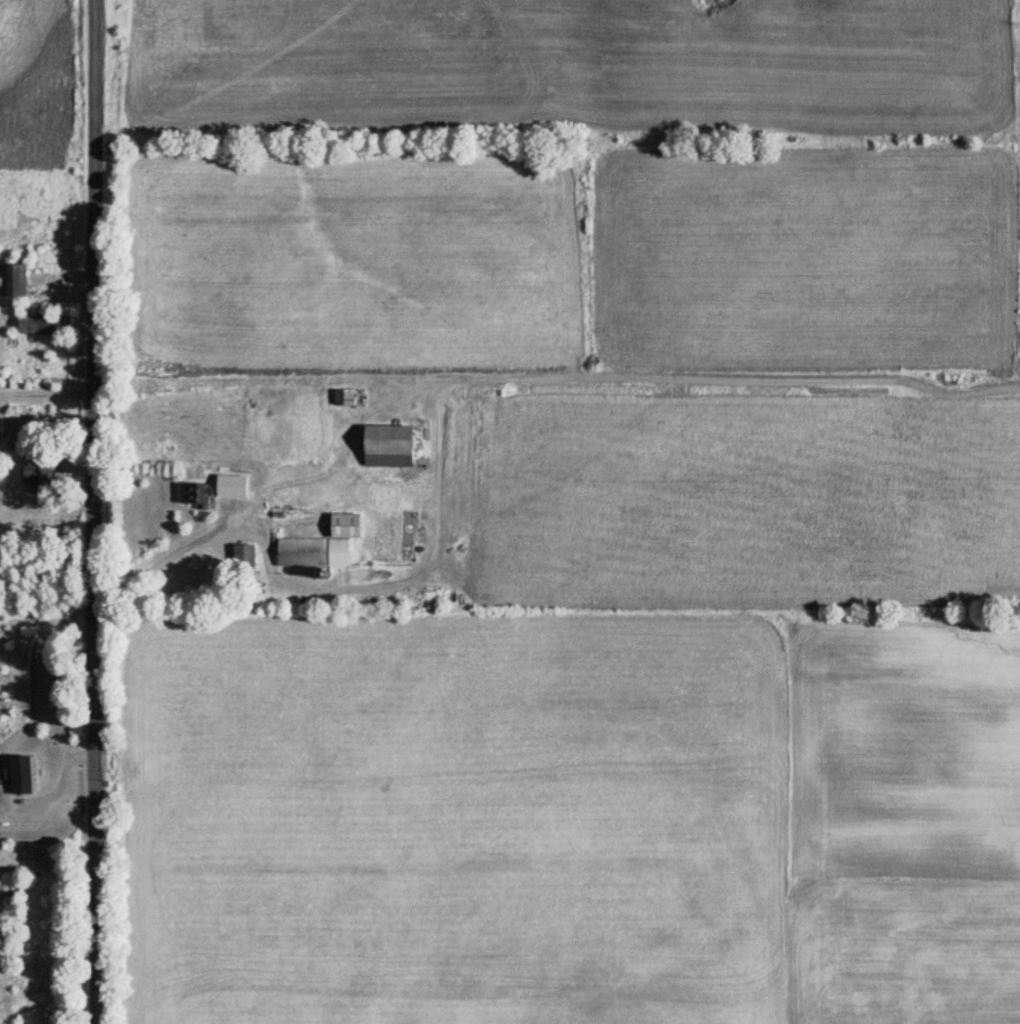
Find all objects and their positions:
building: (3, 280)
building: (41, 324)
building: (340, 398)
building: (383, 446)
building: (26, 474)
building: (228, 487)
road: (93, 512)
building: (318, 545)
building: (240, 555)

